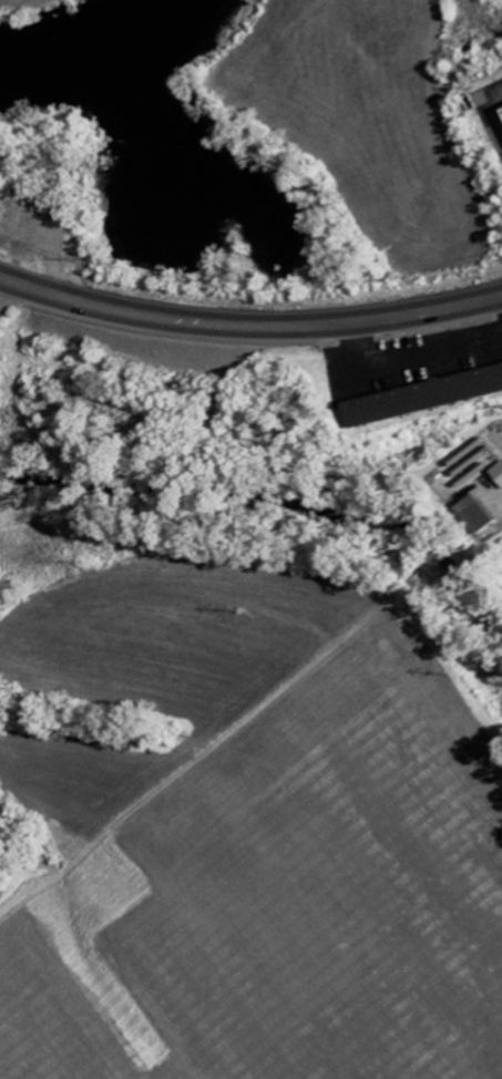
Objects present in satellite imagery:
road: (248, 325)
building: (429, 398)
building: (499, 474)
building: (483, 516)

